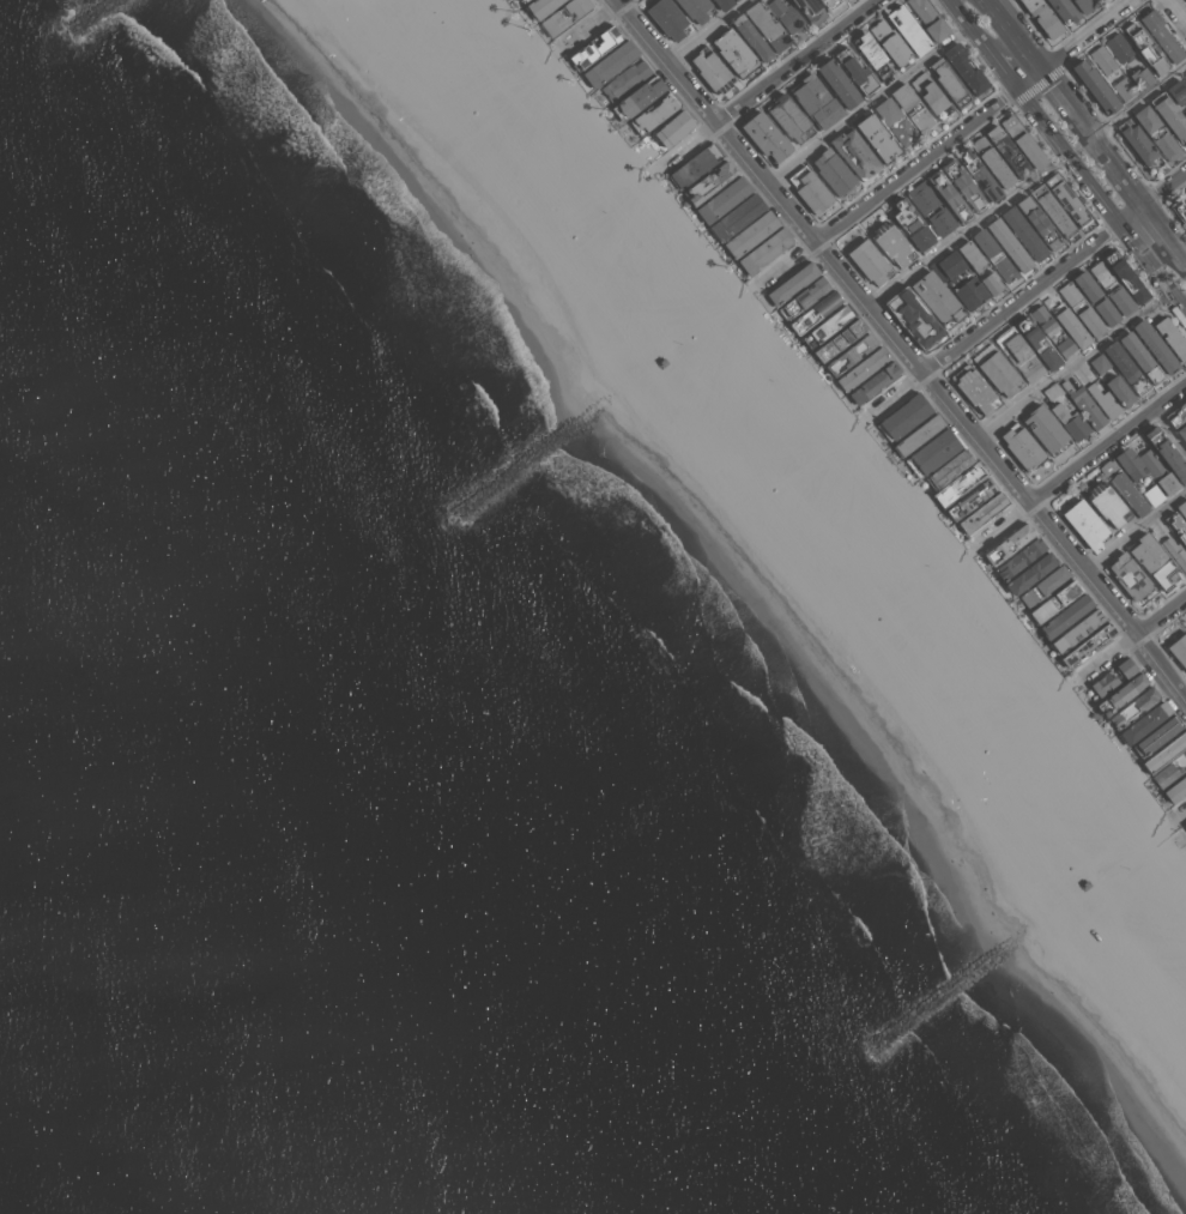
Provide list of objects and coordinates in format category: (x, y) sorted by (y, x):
building: (522, 0)
building: (733, 0)
building: (848, 0)
building: (1096, 0)
building: (1099, 0)
road: (618, 1)
building: (722, 4)
building: (829, 4)
road: (997, 4)
building: (1083, 5)
building: (541, 6)
building: (696, 8)
building: (1063, 10)
building: (810, 11)
road: (1176, 11)
building: (563, 16)
building: (786, 16)
building: (1041, 17)
building: (667, 18)
building: (928, 19)
road: (591, 24)
building: (767, 25)
road: (972, 28)
building: (908, 29)
road: (709, 32)
building: (1160, 35)
building: (751, 37)
building: (890, 43)
building: (594, 47)
building: (1118, 48)
building: (1144, 48)
building: (734, 52)
building: (871, 54)
building: (1102, 60)
road: (794, 61)
road: (1034, 62)
building: (610, 64)
building: (966, 68)
building: (710, 70)
building: (855, 71)
road: (1005, 72)
building: (1184, 76)
building: (1140, 77)
building: (623, 80)
building: (837, 81)
building: (948, 81)
building: (1095, 86)
building: (1124, 89)
building: (1176, 91)
building: (928, 92)
building: (637, 97)
building: (815, 101)
road: (1138, 101)
road: (867, 104)
building: (912, 108)
building: (653, 114)
building: (1185, 114)
building: (1169, 115)
building: (789, 117)
building: (895, 121)
road: (972, 122)
building: (672, 128)
building: (1157, 133)
building: (766, 135)
building: (876, 137)
building: (1022, 140)
road: (690, 143)
building: (1139, 144)
building: (1008, 152)
building: (854, 153)
building: (992, 162)
building: (695, 165)
road: (1112, 167)
building: (834, 171)
building: (978, 174)
building: (709, 181)
building: (964, 186)
building: (810, 191)
building: (950, 197)
building: (722, 199)
building: (1067, 199)
road: (1101, 200)
building: (930, 207)
building: (1179, 207)
building: (1052, 211)
building: (737, 217)
building: (1039, 222)
road: (1156, 224)
building: (910, 225)
building: (750, 234)
road: (969, 234)
building: (1023, 234)
building: (892, 243)
building: (1009, 244)
building: (764, 250)
road: (1176, 254)
building: (972, 255)
building: (994, 255)
building: (869, 261)
road: (791, 264)
road: (1054, 274)
building: (1125, 277)
building: (951, 280)
building: (990, 282)
building: (791, 283)
building: (1112, 289)
building: (803, 297)
building: (1095, 297)
building: (937, 298)
building: (1081, 309)
building: (815, 312)
building: (912, 315)
building: (1045, 321)
building: (1070, 325)
building: (827, 326)
building: (1170, 338)
building: (839, 339)
building: (1036, 343)
building: (1155, 346)
road: (901, 348)
building: (1065, 348)
building: (849, 354)
building: (1018, 354)
building: (1139, 357)
building: (1099, 363)
road: (1073, 366)
building: (863, 368)
building: (1125, 368)
building: (997, 370)
building: (873, 382)
building: (974, 388)
building: (1052, 391)
building: (1119, 391)
road: (897, 394)
building: (1103, 401)
building: (1083, 404)
building: (1176, 415)
building: (903, 417)
building: (1070, 422)
building: (1045, 429)
road: (1170, 431)
building: (1181, 431)
building: (918, 434)
building: (1185, 445)
building: (1021, 446)
road: (1107, 446)
building: (932, 452)
building: (1166, 453)
building: (1130, 464)
building: (949, 469)
building: (1157, 471)
building: (958, 484)
building: (1123, 487)
building: (1151, 494)
building: (969, 499)
building: (1107, 503)
building: (1181, 508)
building: (981, 512)
road: (1006, 523)
building: (1084, 524)
building: (1176, 526)
road: (1134, 532)
building: (1008, 544)
building: (1175, 552)
building: (1018, 558)
building: (1152, 562)
building: (1030, 573)
building: (1128, 576)
building: (1043, 586)
building: (1054, 602)
building: (1065, 616)
road: (1161, 616)
building: (1076, 630)
building: (1088, 645)
building: (1178, 647)
road: (1108, 656)
building: (1125, 668)
building: (1103, 683)
building: (1121, 694)
building: (1132, 707)
building: (1144, 721)
building: (1156, 735)
building: (1185, 750)
building: (1163, 753)
building: (1164, 775)
building: (1175, 790)
road: (1180, 813)
road: (1180, 825)
building: (1185, 825)
building: (1185, 826)

